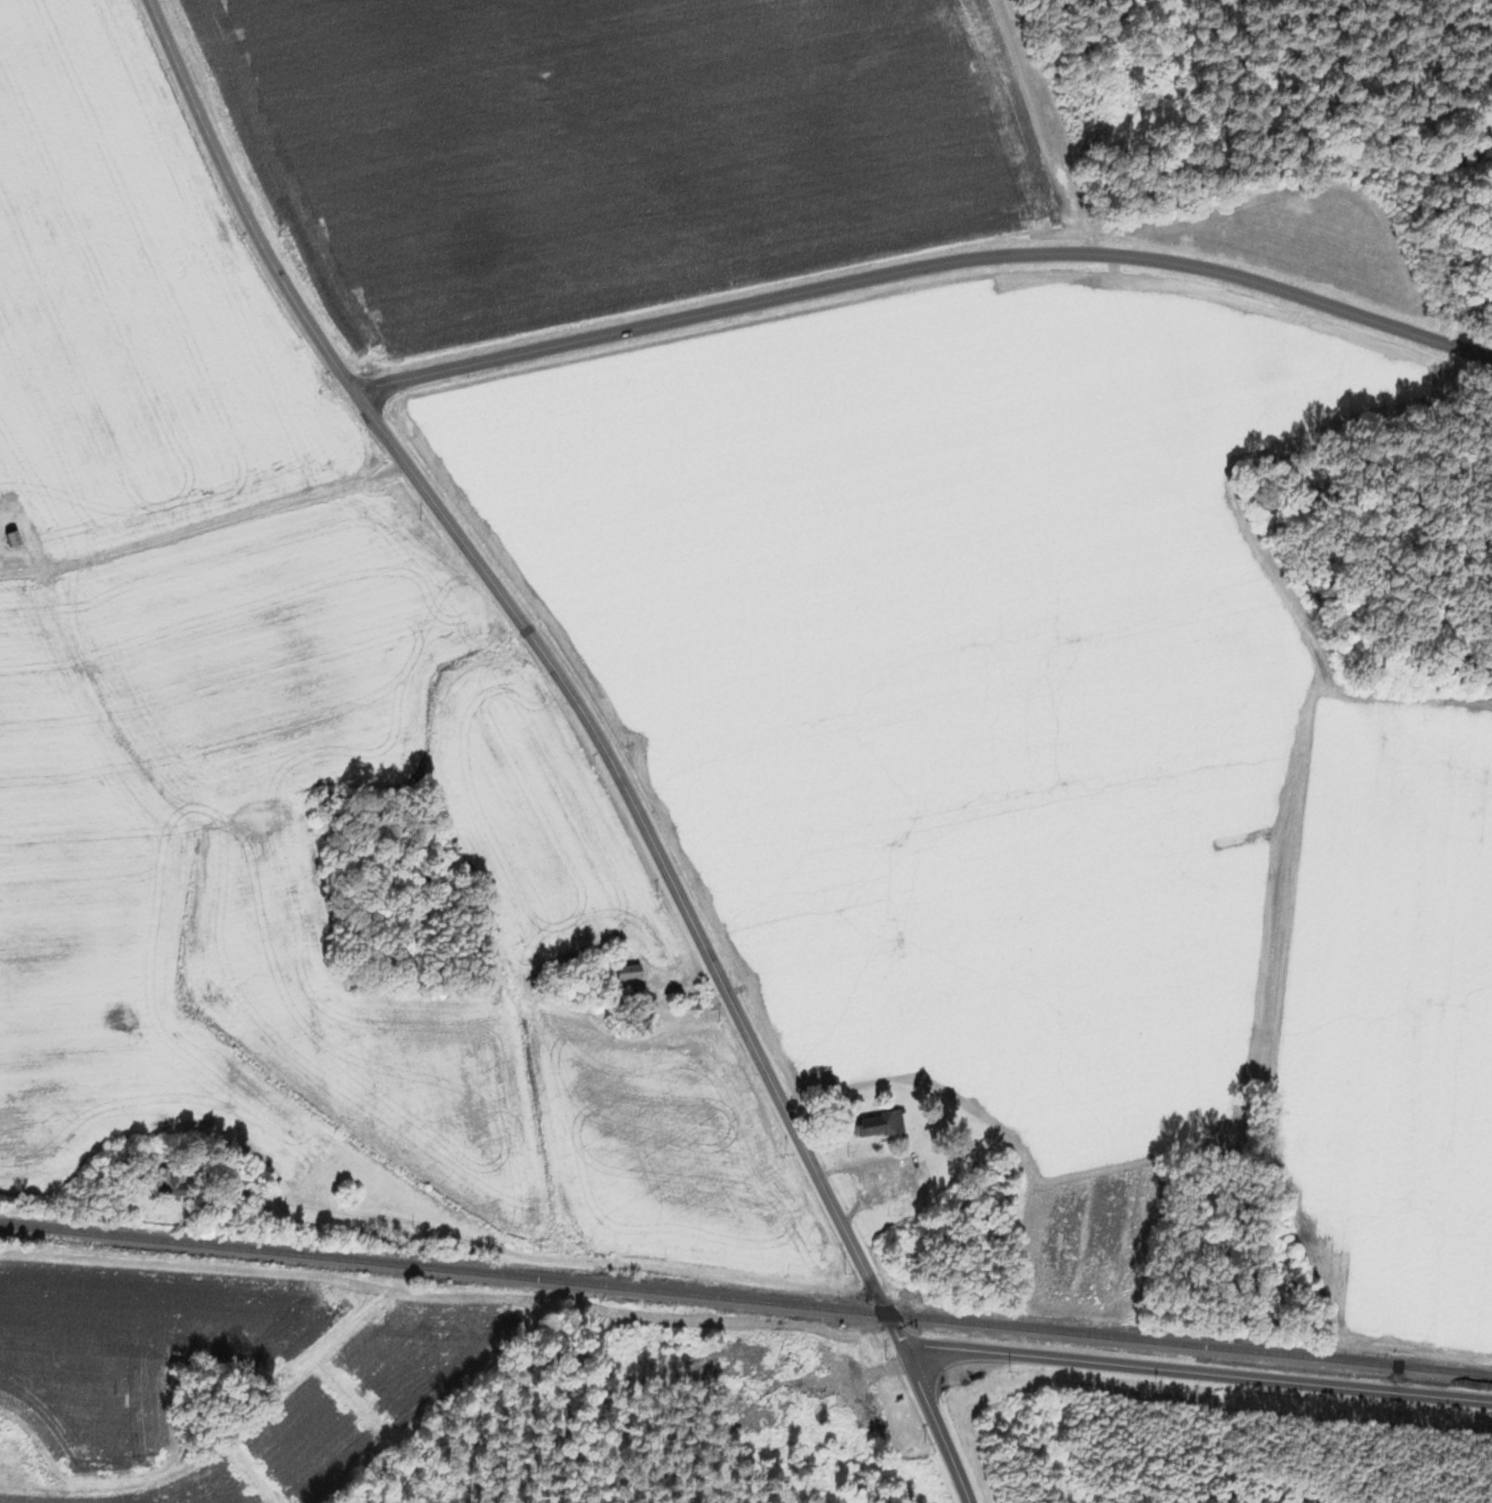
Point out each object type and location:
road: (925, 260)
road: (593, 731)
building: (620, 970)
building: (874, 1122)
building: (171, 1182)
road: (559, 1258)
railway: (746, 1299)
road: (1195, 1368)

